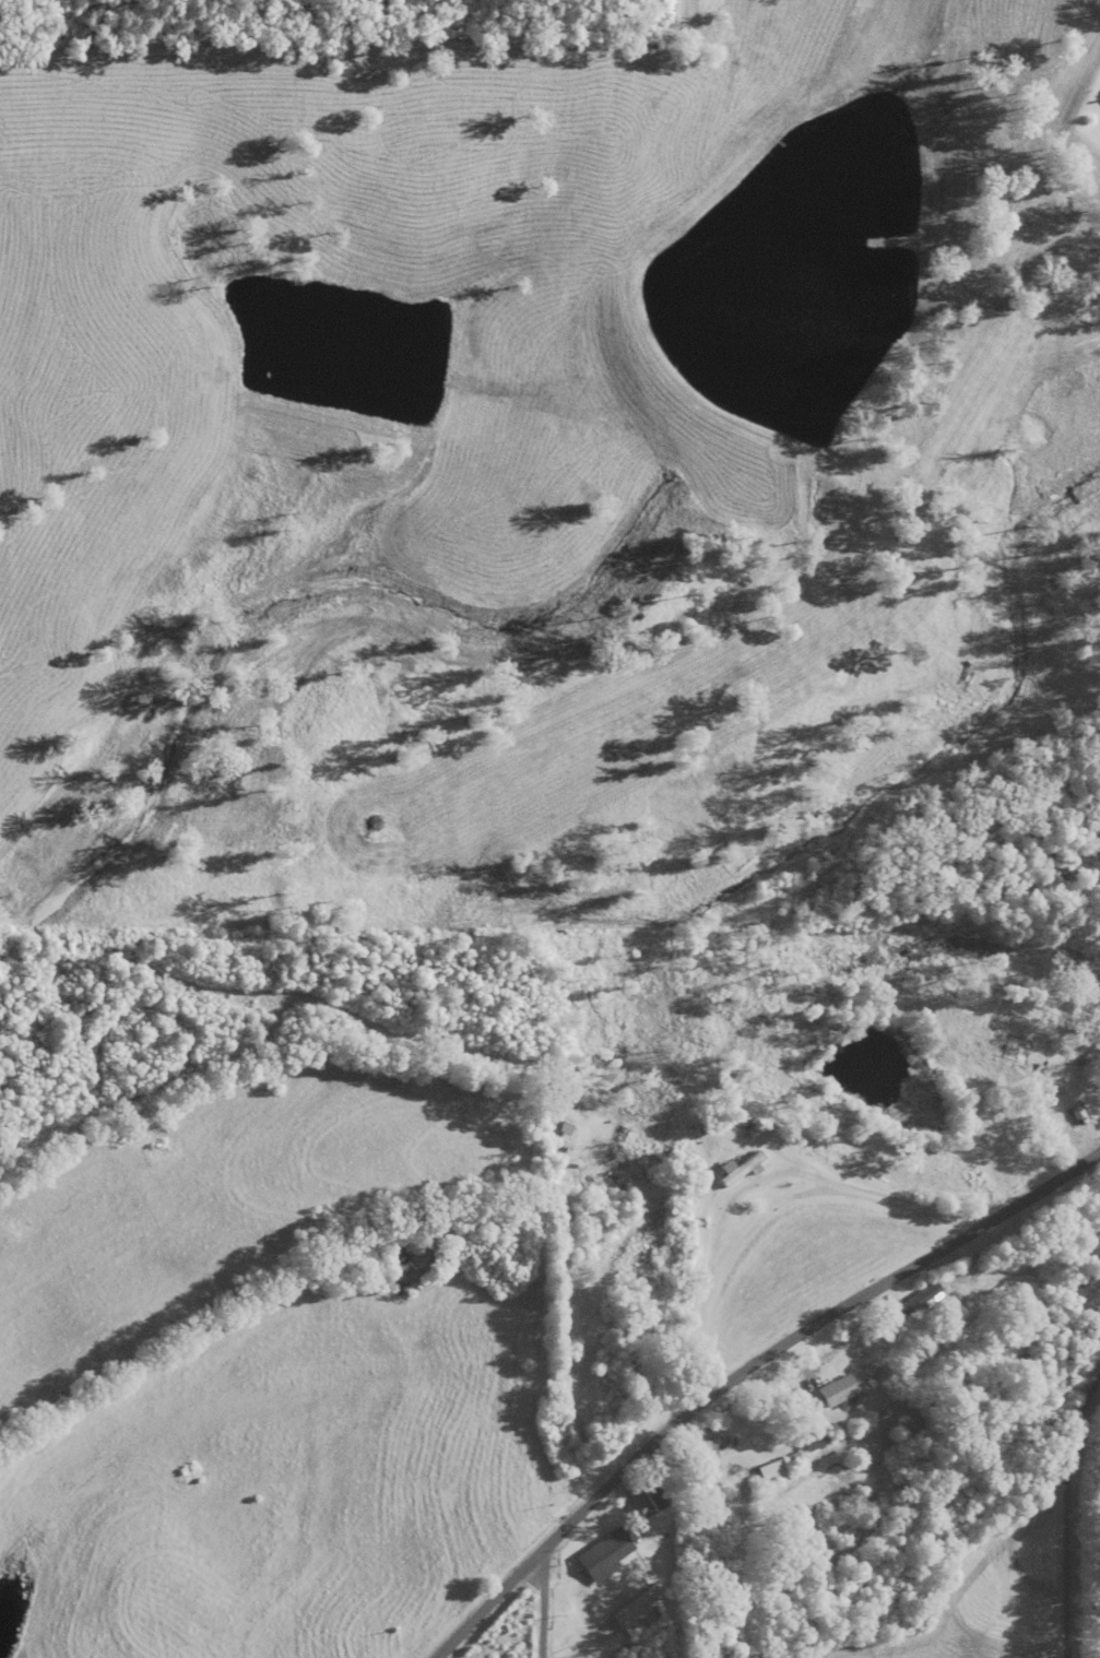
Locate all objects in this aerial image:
building: (998, 1032)
building: (1086, 1108)
building: (753, 1130)
building: (744, 1171)
road: (1098, 1196)
building: (634, 1371)
road: (732, 1374)
building: (839, 1393)
building: (781, 1471)
building: (607, 1558)
road: (535, 1608)
building: (644, 1612)

